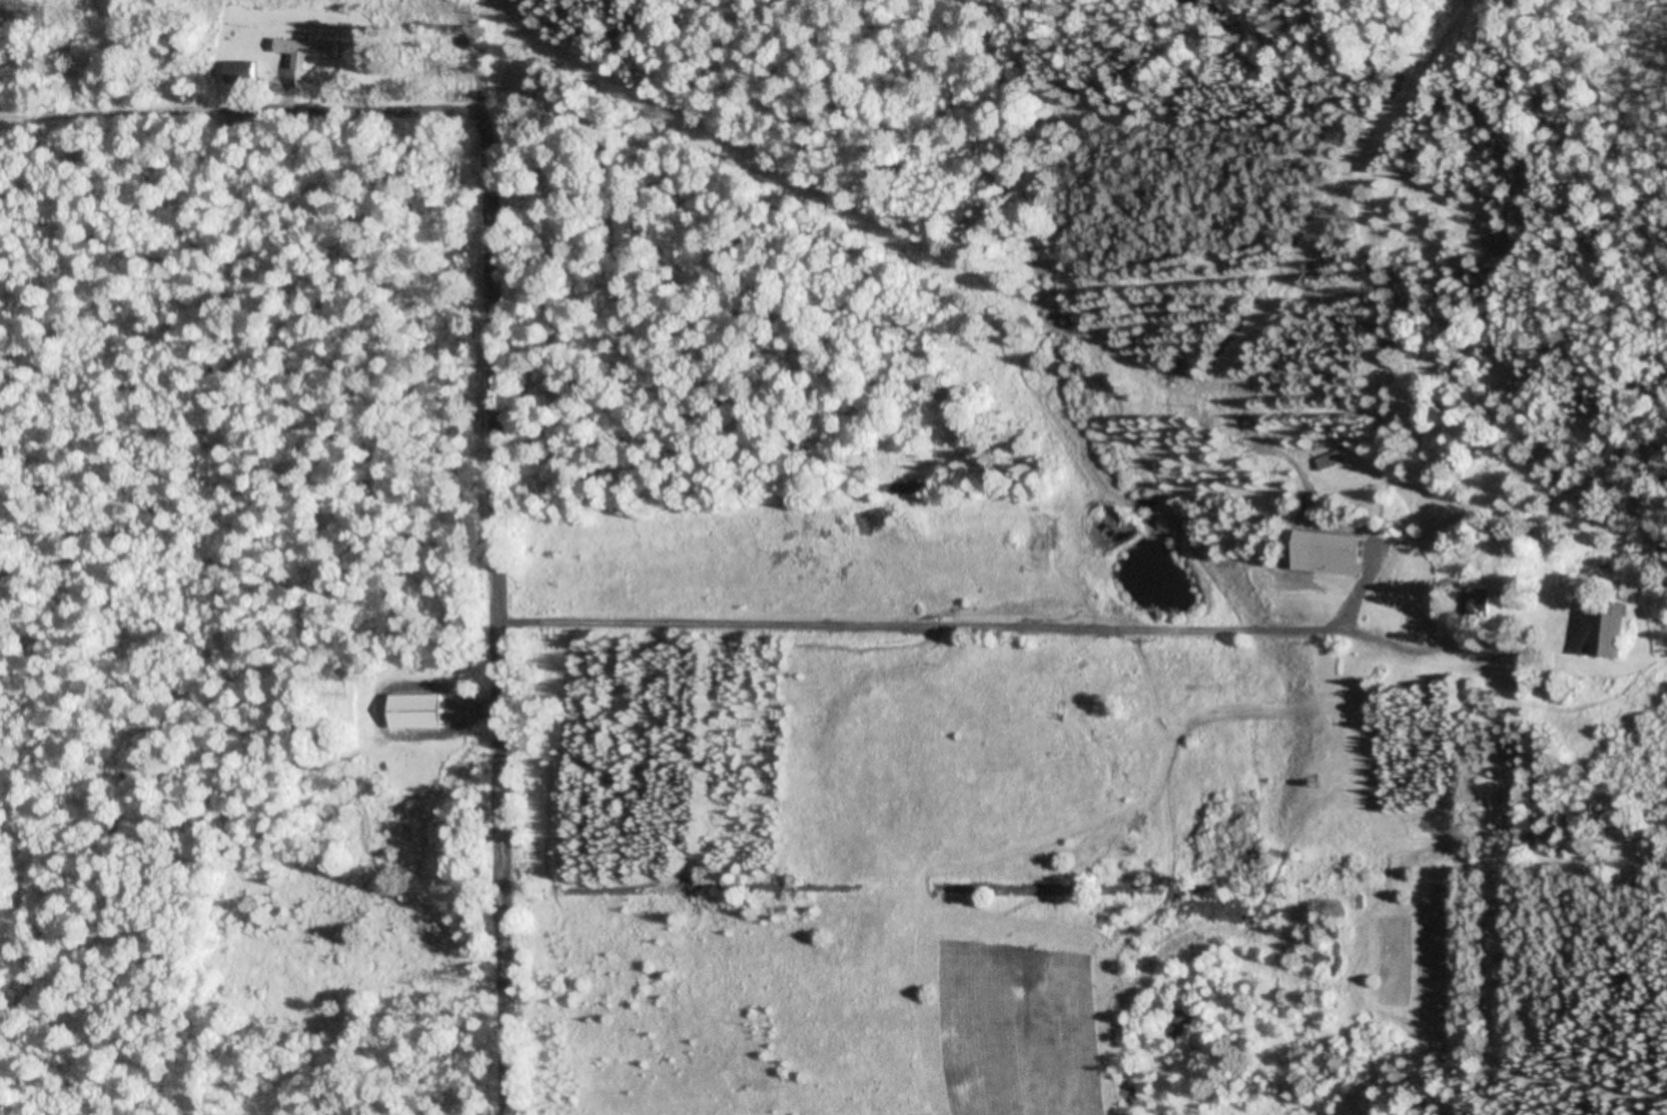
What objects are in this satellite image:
building: (304, 49)
building: (240, 71)
road: (249, 400)
building: (1338, 554)
road: (501, 574)
building: (1476, 605)
building: (1609, 629)
road: (935, 651)
building: (415, 709)

